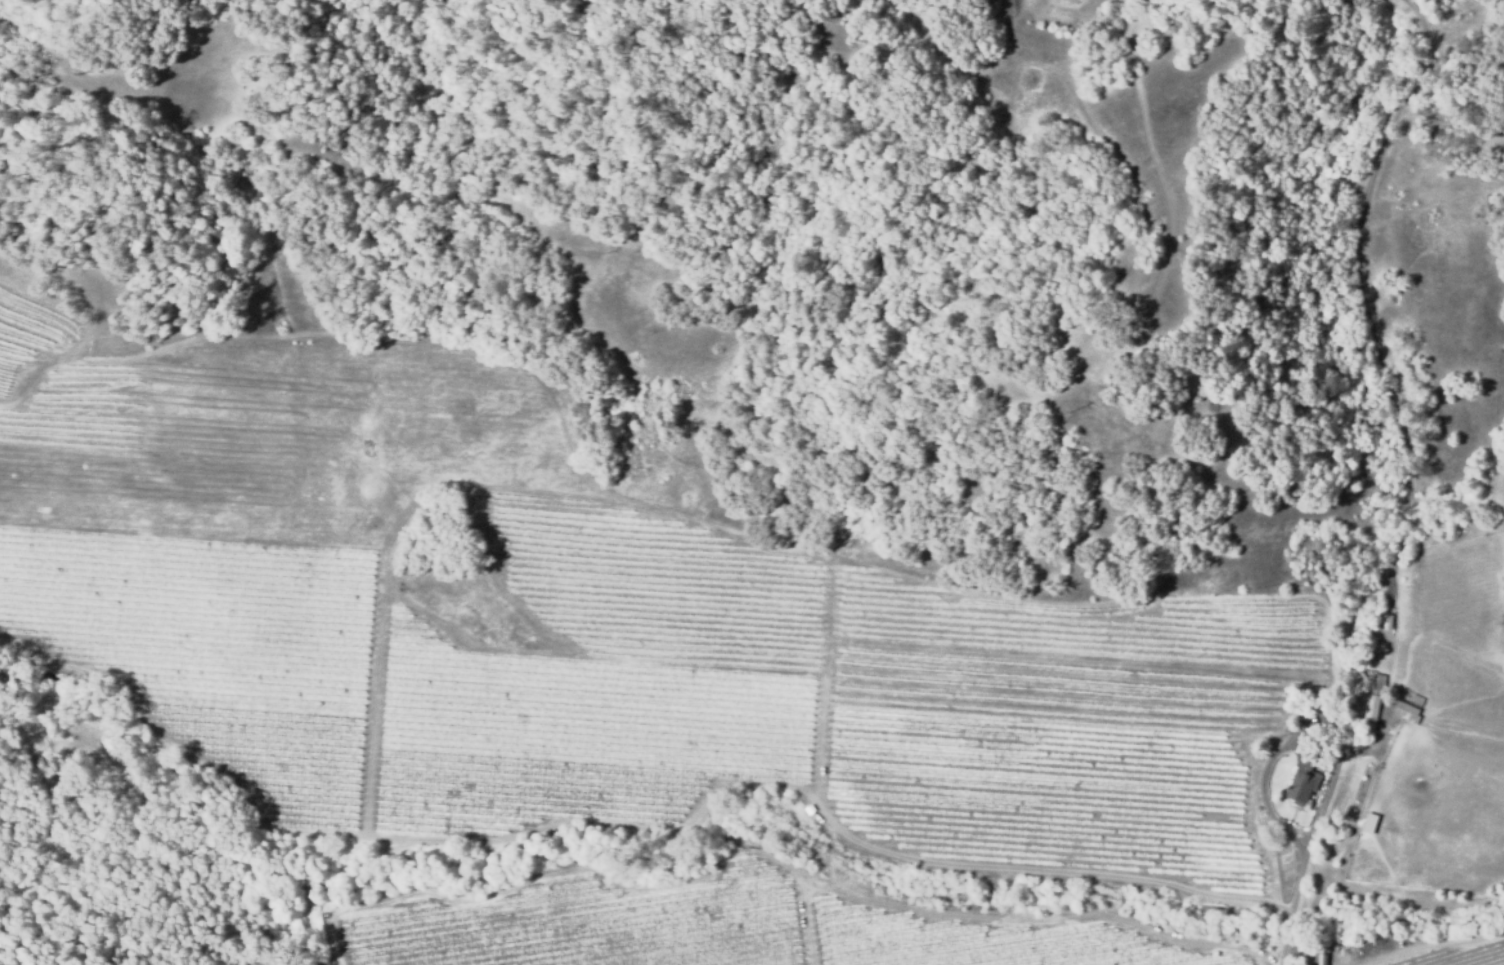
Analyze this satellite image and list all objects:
building: (1386, 621)
building: (1417, 699)
building: (1407, 712)
building: (1371, 713)
road: (52, 763)
building: (1303, 780)
building: (1370, 824)
road: (211, 860)
building: (1307, 950)
building: (1321, 950)
building: (1322, 959)

